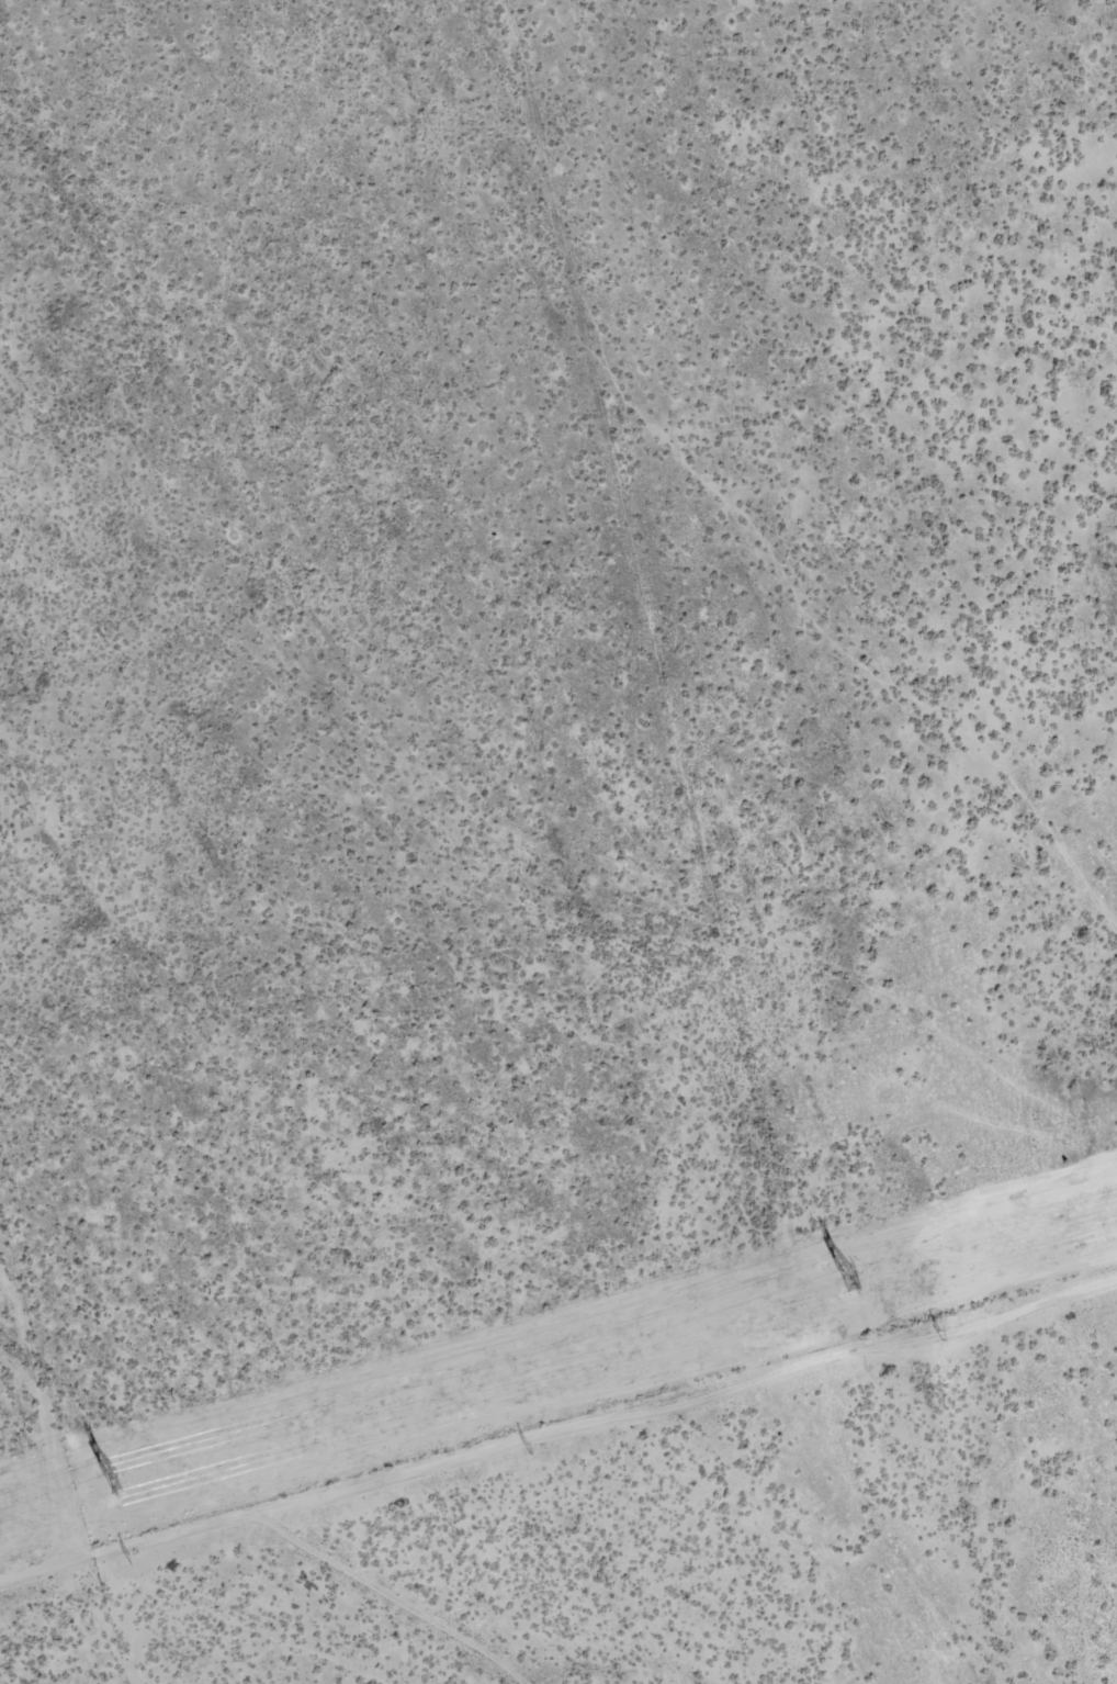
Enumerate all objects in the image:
power tower: (846, 1279)
power tower: (940, 1335)
power tower: (528, 1449)
power tower: (111, 1482)
road: (261, 1506)
power tower: (128, 1560)
road: (610, 1662)

